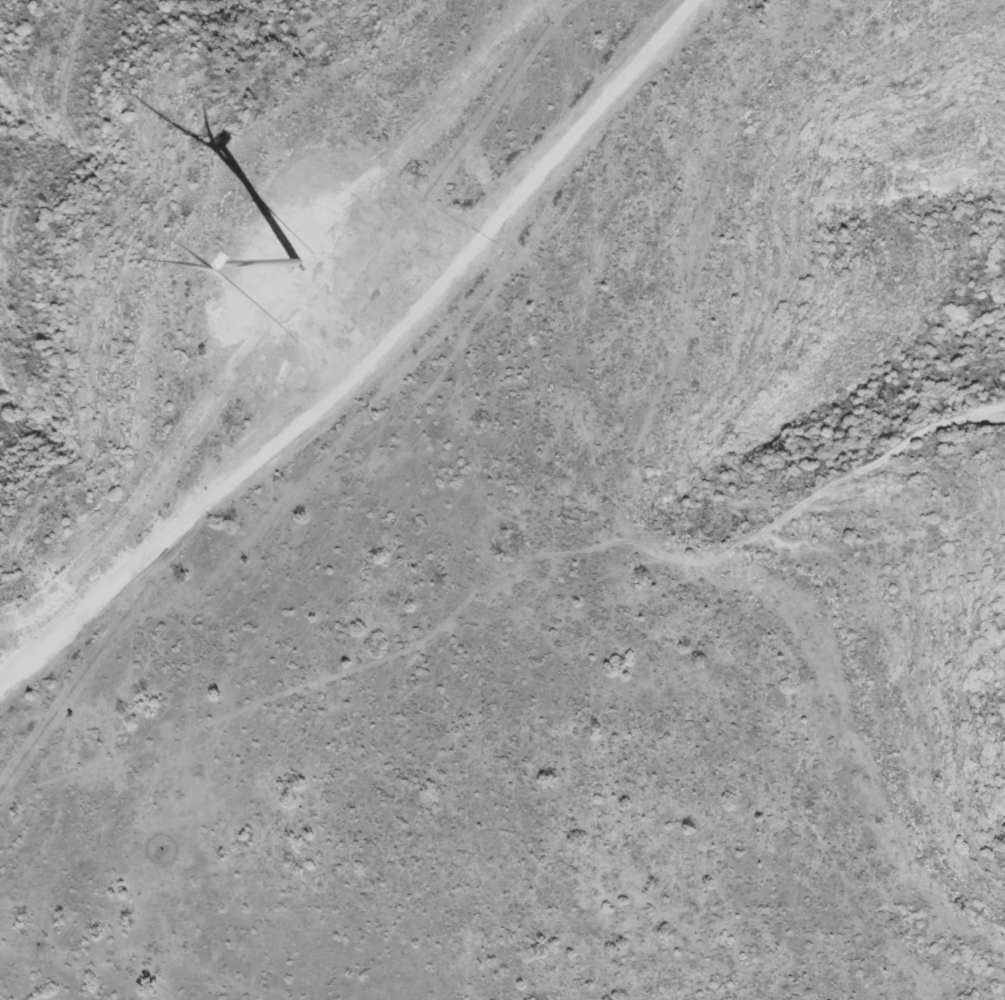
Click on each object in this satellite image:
wind turbine: (284, 255)

